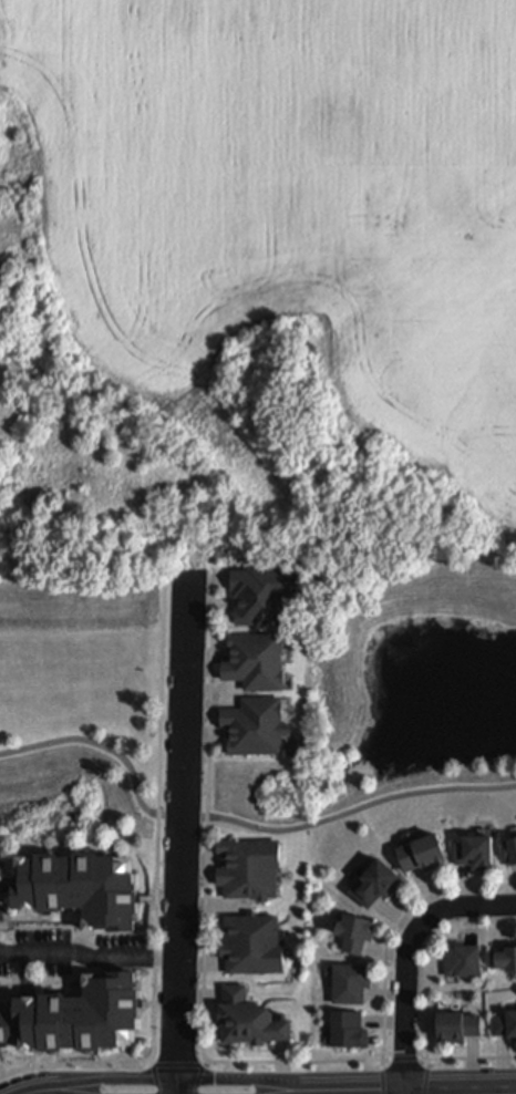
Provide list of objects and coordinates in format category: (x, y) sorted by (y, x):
crop: (257, 278)
building: (265, 595)
building: (257, 660)
park: (414, 689)
building: (256, 725)
road: (239, 822)
road: (183, 825)
building: (512, 845)
building: (474, 848)
building: (421, 849)
building: (250, 869)
building: (374, 879)
building: (76, 887)
road: (158, 891)
road: (207, 907)
building: (353, 929)
road: (393, 930)
building: (255, 943)
building: (505, 954)
road: (90, 957)
road: (409, 957)
building: (460, 958)
road: (427, 961)
building: (348, 980)
building: (76, 1013)
building: (249, 1019)
building: (505, 1021)
building: (455, 1022)
building: (347, 1026)
road: (405, 1059)
road: (467, 1060)
road: (151, 1062)
road: (206, 1063)
road: (193, 1065)
road: (114, 1078)
road: (153, 1080)
road: (268, 1080)
road: (382, 1081)
road: (425, 1081)
road: (178, 1086)
road: (40, 1091)
road: (436, 1091)
road: (52, 1092)
road: (60, 1092)
road: (347, 1092)
road: (404, 1092)

